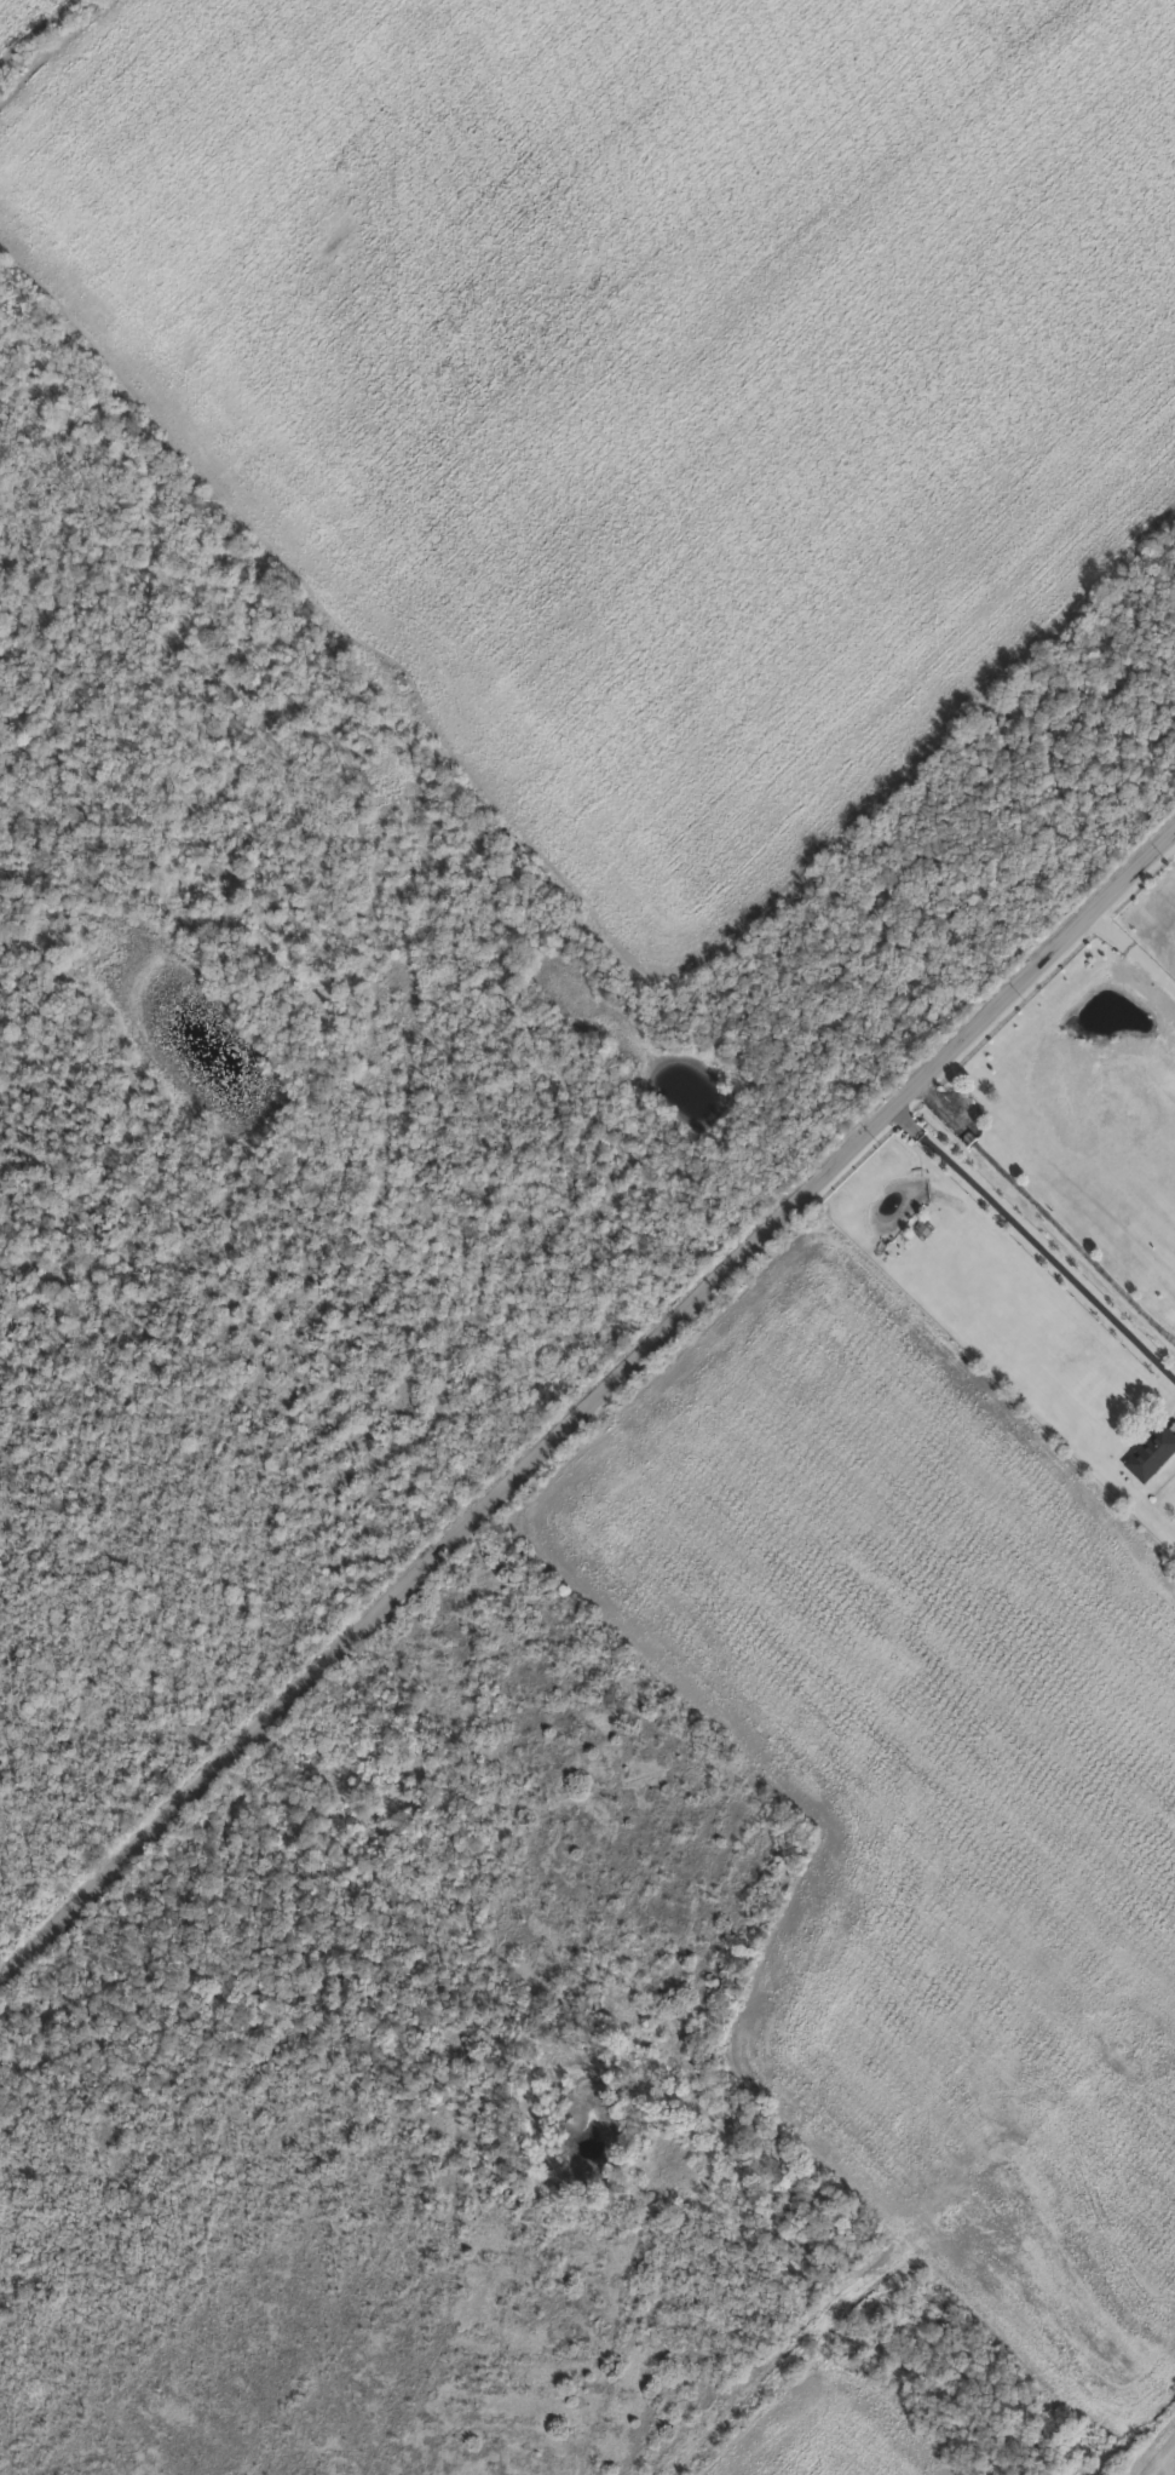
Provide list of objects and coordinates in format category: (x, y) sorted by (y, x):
road: (1170, 845)
road: (1135, 948)
building: (1123, 1114)
road: (1048, 1205)
road: (1035, 1245)
road: (587, 1409)
building: (1151, 1453)

